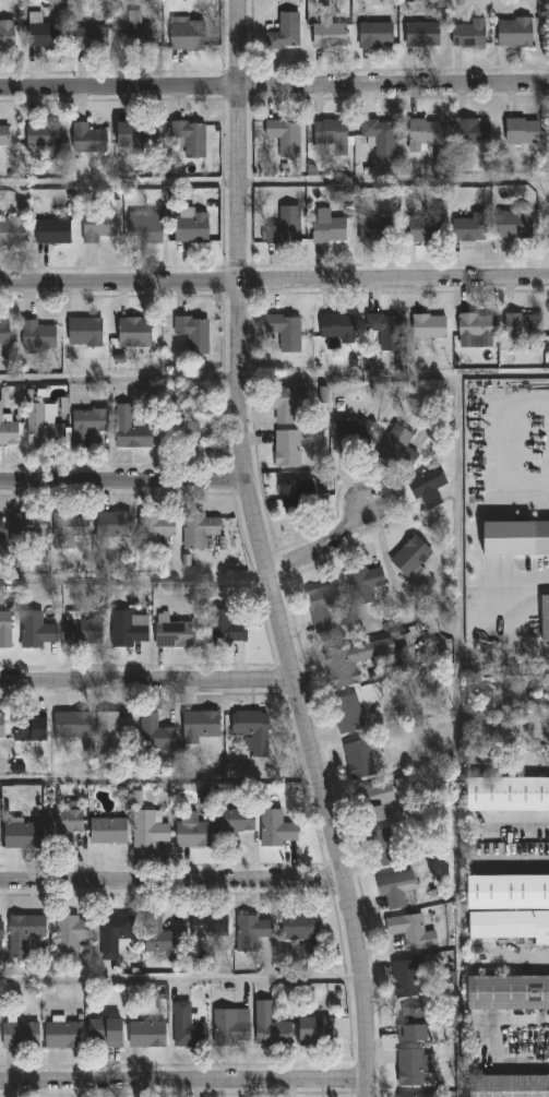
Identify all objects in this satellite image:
building: (439, 3)
building: (327, 33)
building: (284, 34)
building: (513, 34)
building: (467, 35)
building: (7, 36)
building: (44, 36)
building: (187, 36)
building: (421, 36)
building: (136, 37)
building: (374, 37)
building: (89, 39)
road: (274, 88)
building: (472, 132)
building: (521, 132)
building: (3, 135)
building: (41, 135)
building: (135, 135)
building: (423, 135)
building: (379, 136)
building: (189, 138)
building: (283, 138)
building: (330, 138)
building: (87, 140)
building: (441, 156)
building: (514, 224)
building: (191, 226)
building: (284, 227)
building: (326, 227)
building: (97, 228)
building: (145, 228)
building: (468, 229)
building: (375, 230)
building: (422, 230)
building: (11, 232)
building: (51, 232)
road: (274, 277)
building: (521, 325)
building: (475, 326)
building: (335, 327)
building: (428, 327)
building: (284, 332)
building: (385, 332)
building: (3, 333)
building: (84, 333)
building: (133, 333)
building: (193, 334)
building: (37, 337)
road: (120, 380)
building: (286, 403)
building: (86, 426)
building: (43, 427)
building: (129, 430)
building: (8, 431)
building: (180, 432)
building: (351, 434)
building: (286, 449)
building: (397, 449)
road: (121, 485)
building: (429, 487)
building: (297, 498)
building: (26, 525)
building: (112, 525)
building: (154, 527)
building: (0, 528)
building: (196, 528)
building: (68, 529)
building: (515, 538)
road: (322, 549)
road: (260, 552)
building: (409, 557)
building: (188, 560)
road: (517, 577)
road: (133, 579)
building: (422, 582)
building: (362, 584)
building: (321, 606)
building: (544, 618)
building: (4, 629)
building: (35, 629)
building: (129, 629)
building: (226, 629)
road: (457, 631)
building: (82, 632)
building: (170, 633)
building: (353, 661)
road: (146, 683)
building: (346, 714)
building: (71, 726)
building: (1, 727)
building: (199, 727)
building: (28, 729)
building: (111, 730)
building: (252, 732)
building: (154, 735)
building: (358, 760)
road: (158, 779)
building: (403, 787)
building: (506, 794)
building: (375, 803)
road: (521, 823)
building: (62, 825)
building: (232, 825)
building: (150, 828)
building: (275, 830)
building: (107, 831)
building: (192, 831)
building: (21, 836)
building: (381, 848)
road: (521, 860)
road: (170, 887)
building: (392, 892)
building: (506, 892)
building: (510, 926)
building: (297, 927)
building: (0, 931)
building: (249, 932)
building: (410, 932)
building: (70, 933)
building: (23, 934)
building: (114, 934)
building: (208, 937)
building: (158, 939)
building: (308, 952)
road: (179, 979)
building: (406, 979)
building: (508, 992)
building: (409, 1025)
building: (231, 1027)
building: (270, 1027)
building: (187, 1028)
building: (320, 1032)
building: (104, 1033)
building: (19, 1035)
building: (61, 1035)
building: (146, 1035)
road: (492, 1044)
building: (411, 1066)
road: (182, 1083)
building: (508, 1086)
building: (414, 1095)

